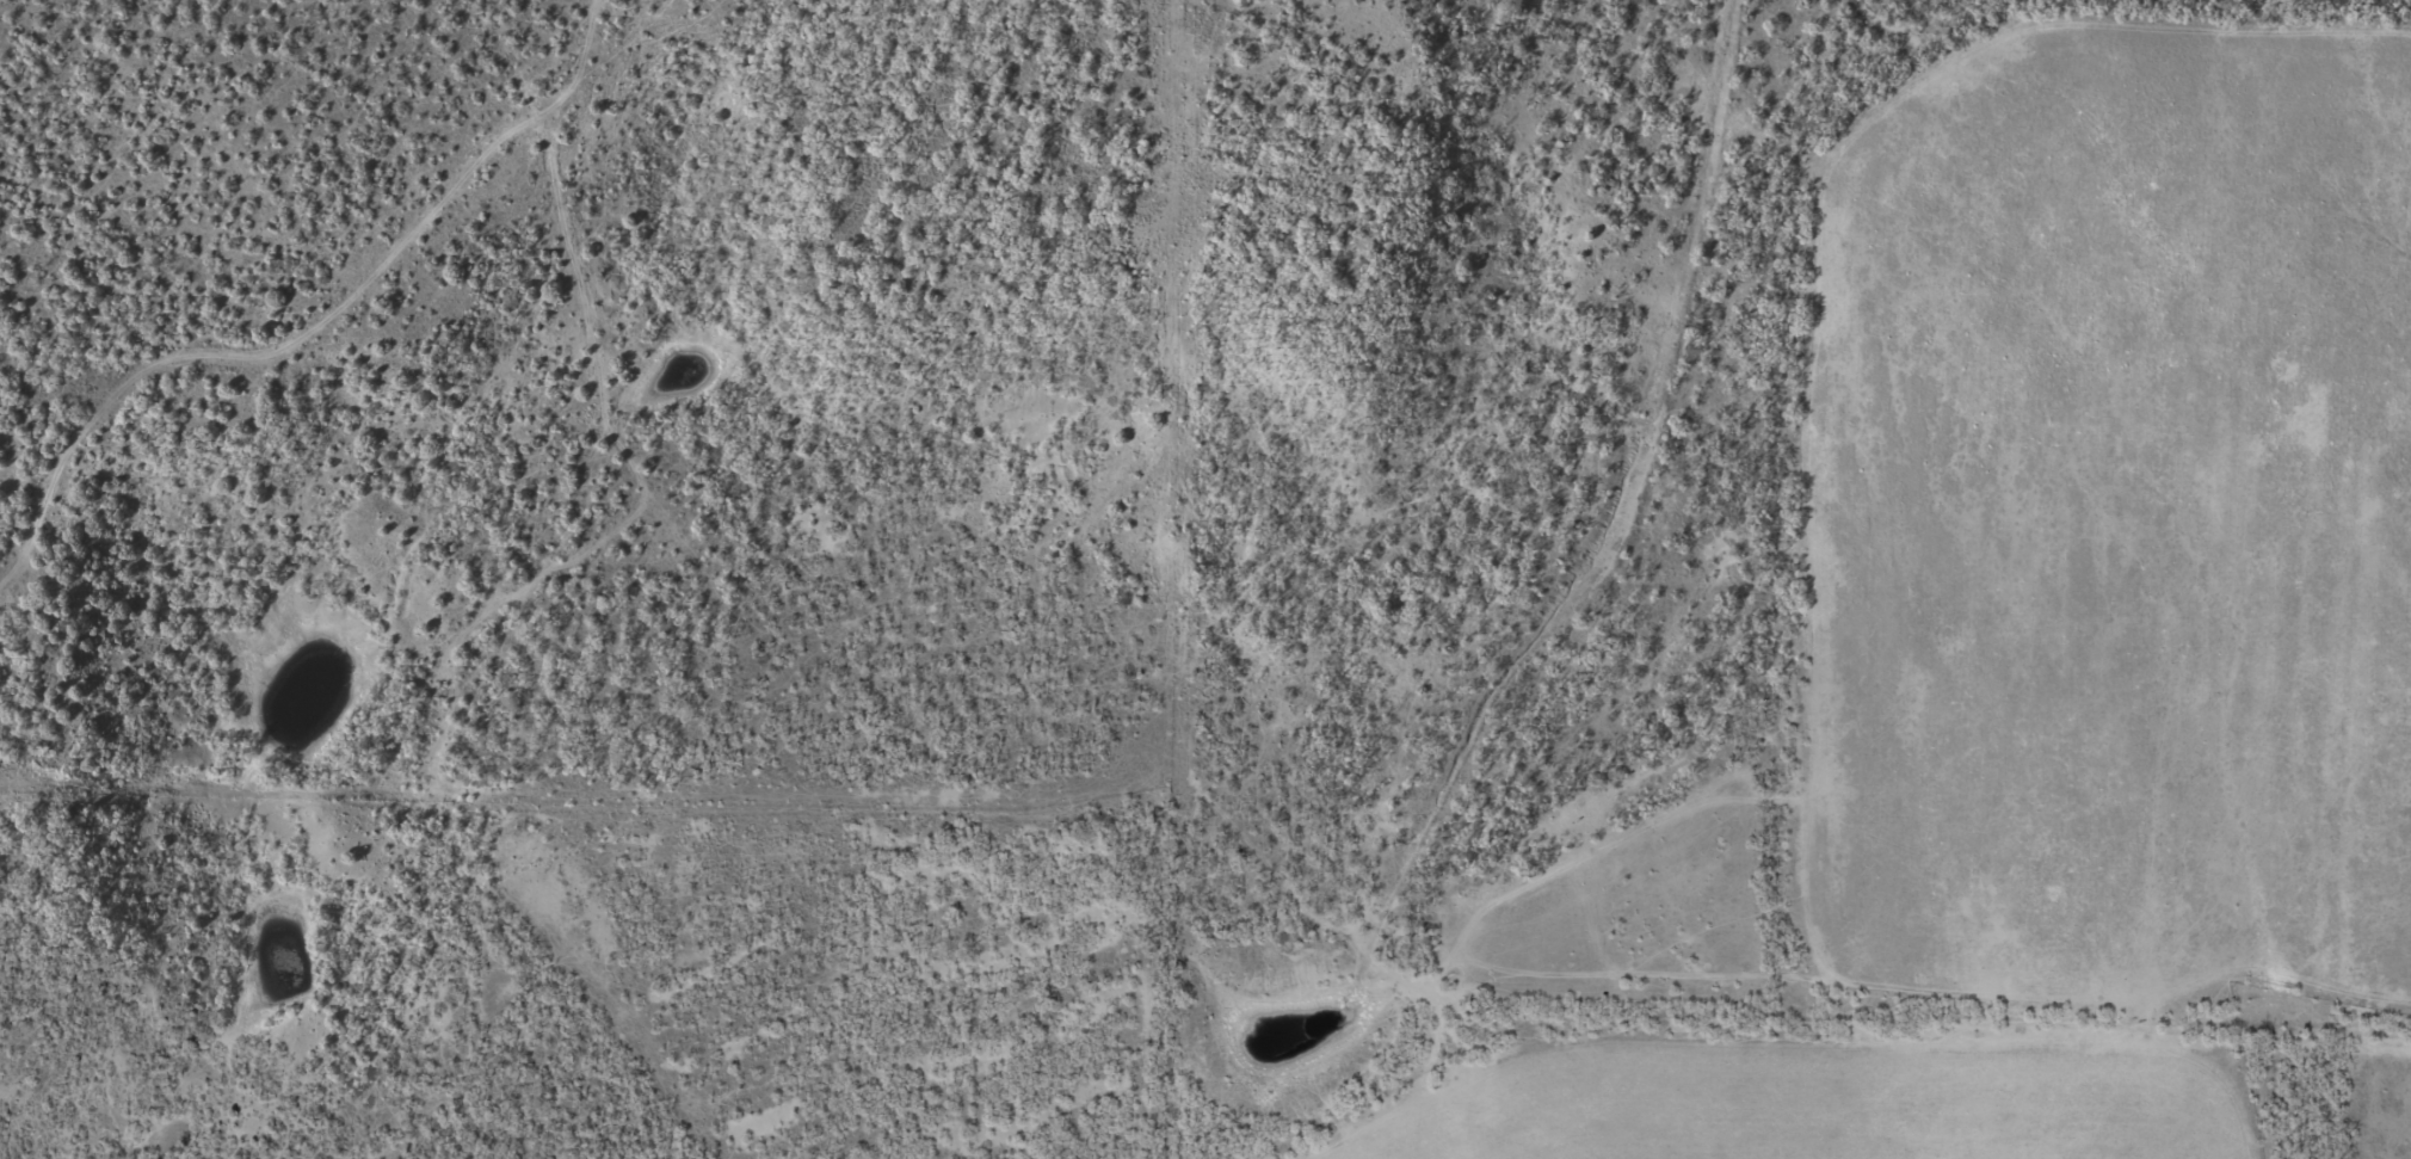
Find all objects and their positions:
road: (314, 310)

